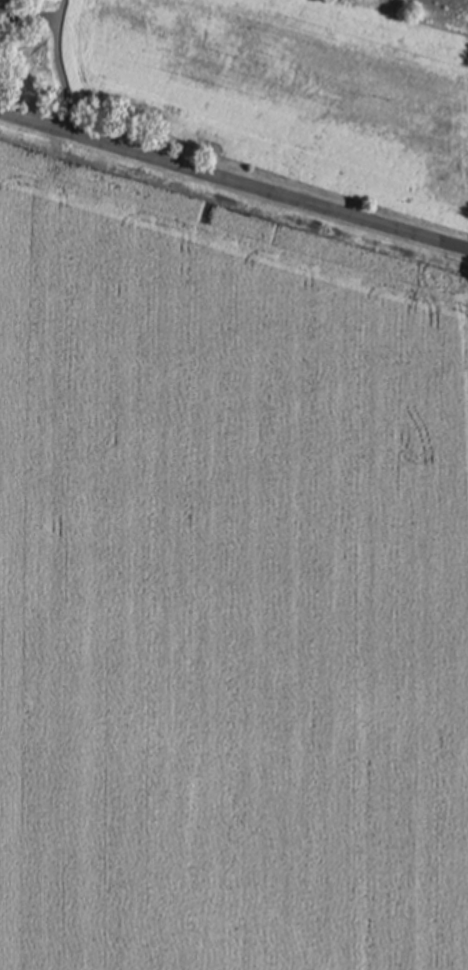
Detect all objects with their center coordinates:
building: (8, 16)
road: (57, 66)
road: (233, 183)

